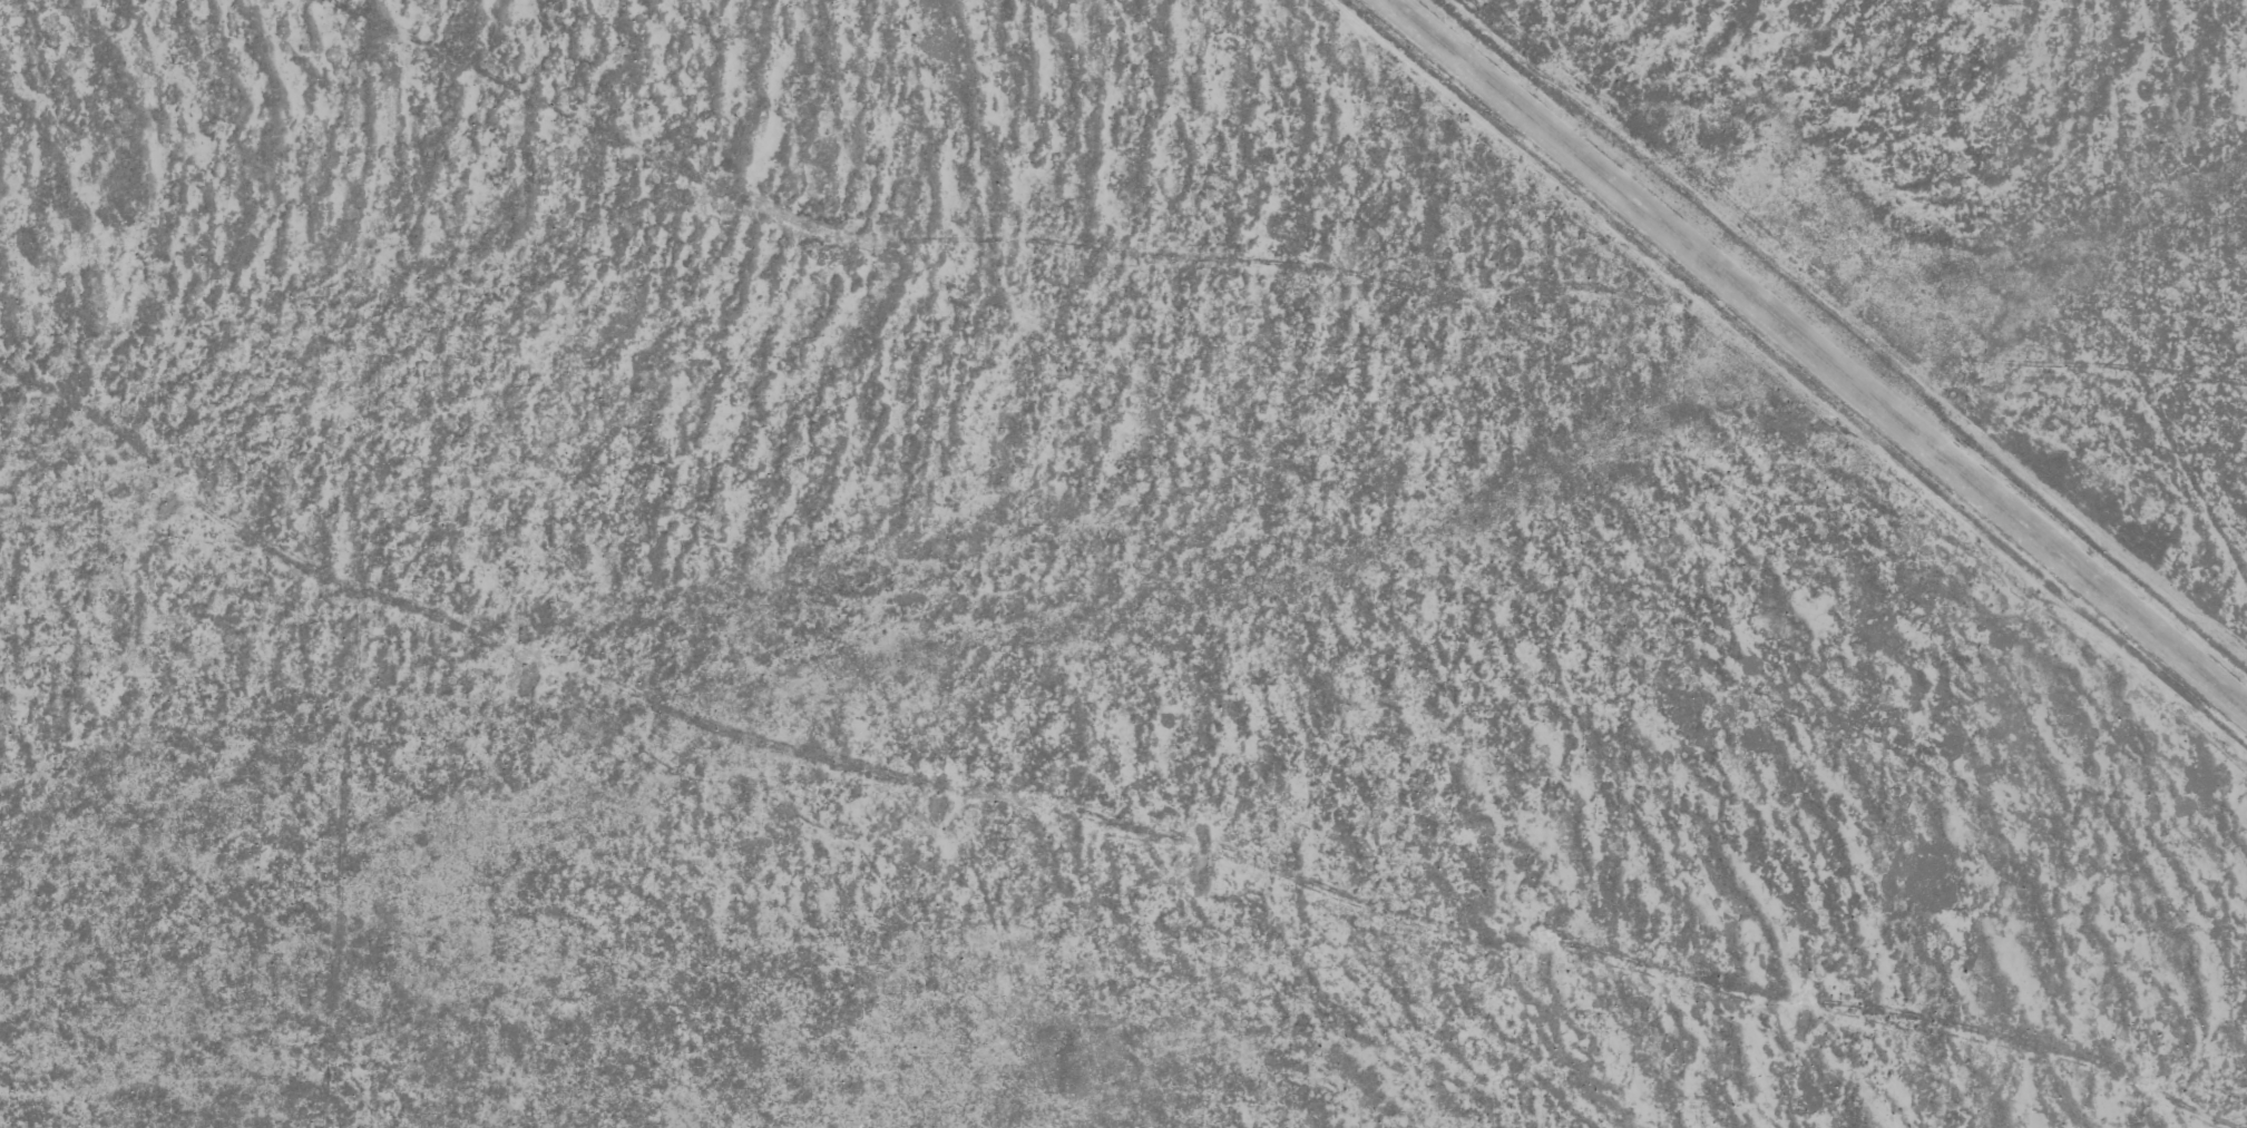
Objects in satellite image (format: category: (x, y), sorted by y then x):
road: (1251, 295)
airport runway: (1823, 351)
road: (1079, 852)

